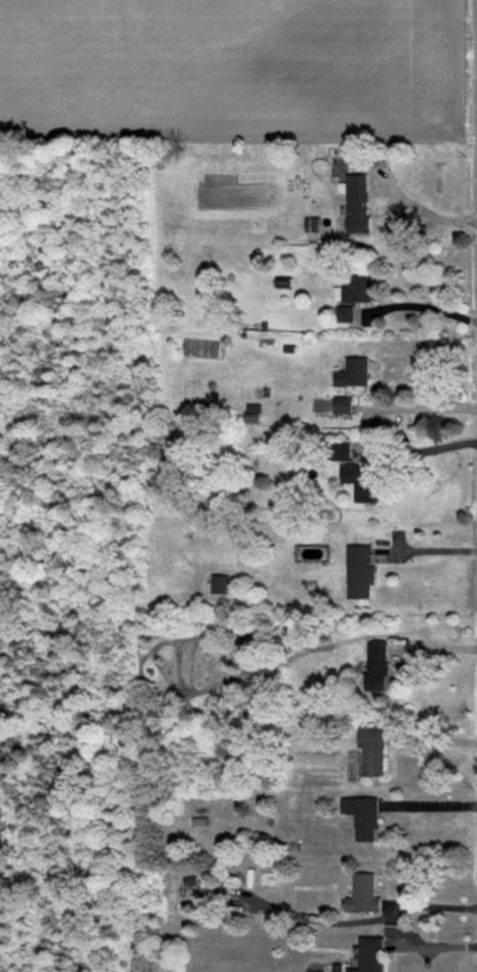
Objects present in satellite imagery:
building: (356, 202)
road: (424, 210)
building: (318, 228)
road: (393, 232)
building: (356, 289)
road: (420, 306)
building: (344, 314)
building: (353, 373)
building: (343, 405)
road: (422, 408)
building: (340, 450)
road: (416, 450)
building: (362, 480)
road: (424, 550)
building: (360, 571)
building: (222, 584)
road: (430, 648)
building: (377, 666)
road: (431, 739)
building: (373, 751)
road: (427, 804)
building: (363, 817)
building: (214, 892)
building: (364, 895)
road: (428, 905)
road: (431, 945)
building: (370, 955)

